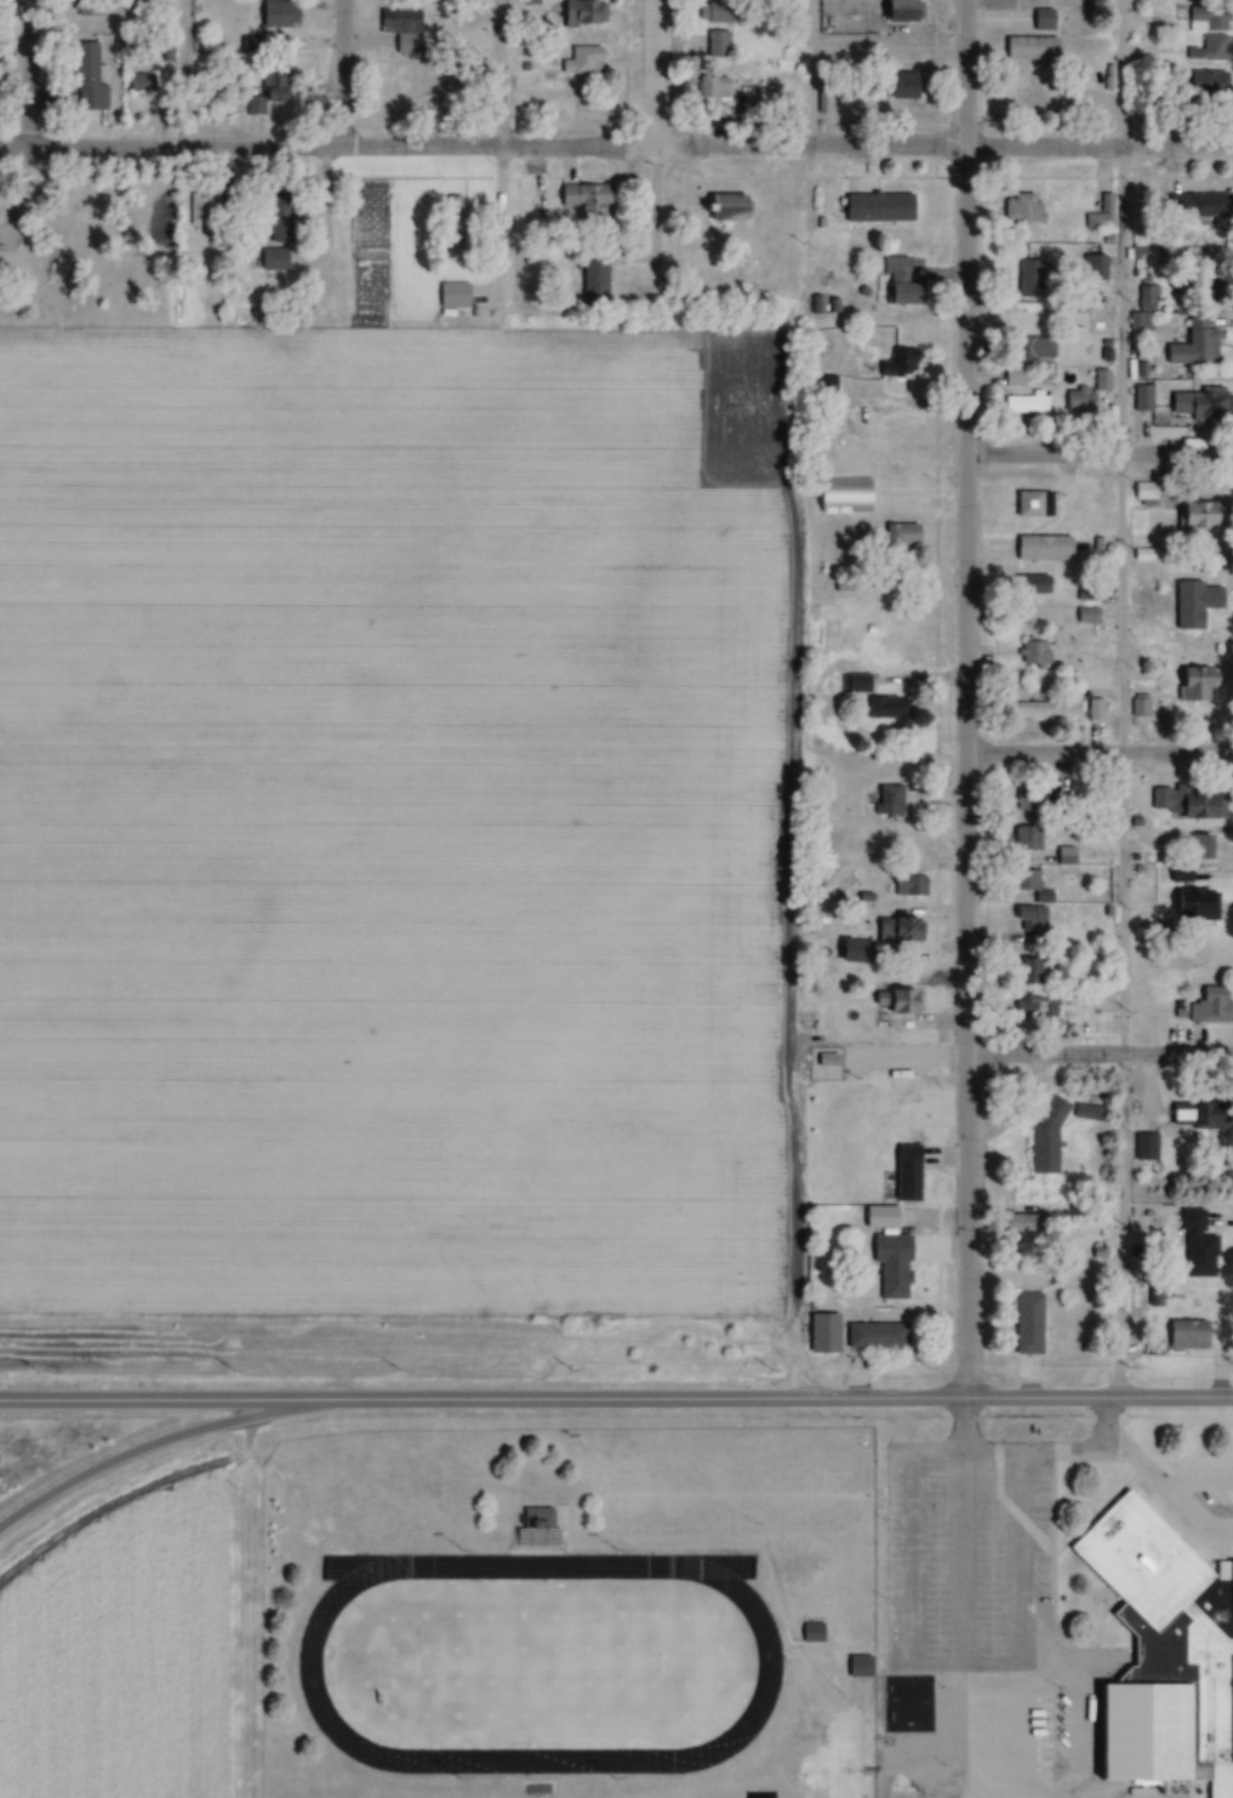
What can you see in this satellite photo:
building: (93, 8)
building: (589, 13)
building: (730, 13)
building: (285, 16)
building: (1203, 18)
building: (1041, 21)
building: (407, 32)
building: (723, 46)
building: (1027, 50)
building: (1205, 52)
building: (587, 61)
road: (182, 74)
road: (337, 74)
road: (501, 74)
road: (653, 74)
road: (805, 74)
road: (25, 75)
building: (93, 80)
building: (911, 87)
building: (1204, 87)
building: (714, 89)
building: (824, 102)
building: (258, 107)
road: (616, 149)
building: (531, 202)
building: (590, 202)
building: (878, 206)
building: (1197, 207)
building: (735, 209)
building: (1020, 210)
road: (655, 215)
building: (1098, 217)
building: (282, 221)
road: (501, 222)
building: (278, 259)
building: (1090, 268)
building: (599, 276)
building: (892, 281)
building: (1027, 284)
building: (453, 292)
building: (1144, 296)
building: (1189, 347)
building: (1034, 350)
building: (898, 365)
building: (1010, 379)
building: (1098, 382)
building: (1140, 399)
building: (1077, 403)
building: (1023, 405)
building: (1192, 406)
road: (1097, 456)
building: (1140, 492)
building: (845, 496)
building: (1031, 507)
building: (1193, 518)
road: (963, 527)
building: (862, 535)
building: (898, 538)
building: (1045, 547)
building: (1032, 586)
building: (1192, 605)
building: (1083, 617)
building: (1032, 656)
building: (852, 685)
building: (1188, 686)
road: (1119, 701)
building: (1137, 706)
building: (885, 710)
building: (1044, 710)
building: (1091, 712)
road: (1097, 754)
building: (885, 800)
building: (1183, 804)
building: (1027, 805)
crop: (390, 822)
building: (1024, 839)
building: (1198, 847)
building: (1176, 875)
building: (1022, 881)
building: (907, 887)
building: (1189, 907)
building: (1027, 917)
building: (896, 935)
building: (847, 952)
building: (1029, 971)
building: (892, 1005)
building: (1035, 1005)
building: (1208, 1009)
road: (1097, 1056)
building: (1083, 1114)
building: (1187, 1117)
building: (1043, 1138)
building: (1141, 1148)
building: (902, 1175)
building: (877, 1220)
building: (1015, 1225)
road: (961, 1228)
building: (1193, 1246)
building: (889, 1267)
building: (1024, 1325)
building: (873, 1337)
building: (1183, 1337)
road: (784, 1403)
road: (169, 1404)
road: (960, 1429)
road: (150, 1446)
road: (1153, 1479)
road: (906, 1512)
building: (544, 1519)
road: (1024, 1562)
building: (1176, 1611)
building: (816, 1632)
crop: (122, 1656)
park: (536, 1666)
building: (863, 1667)
road: (1157, 1708)

